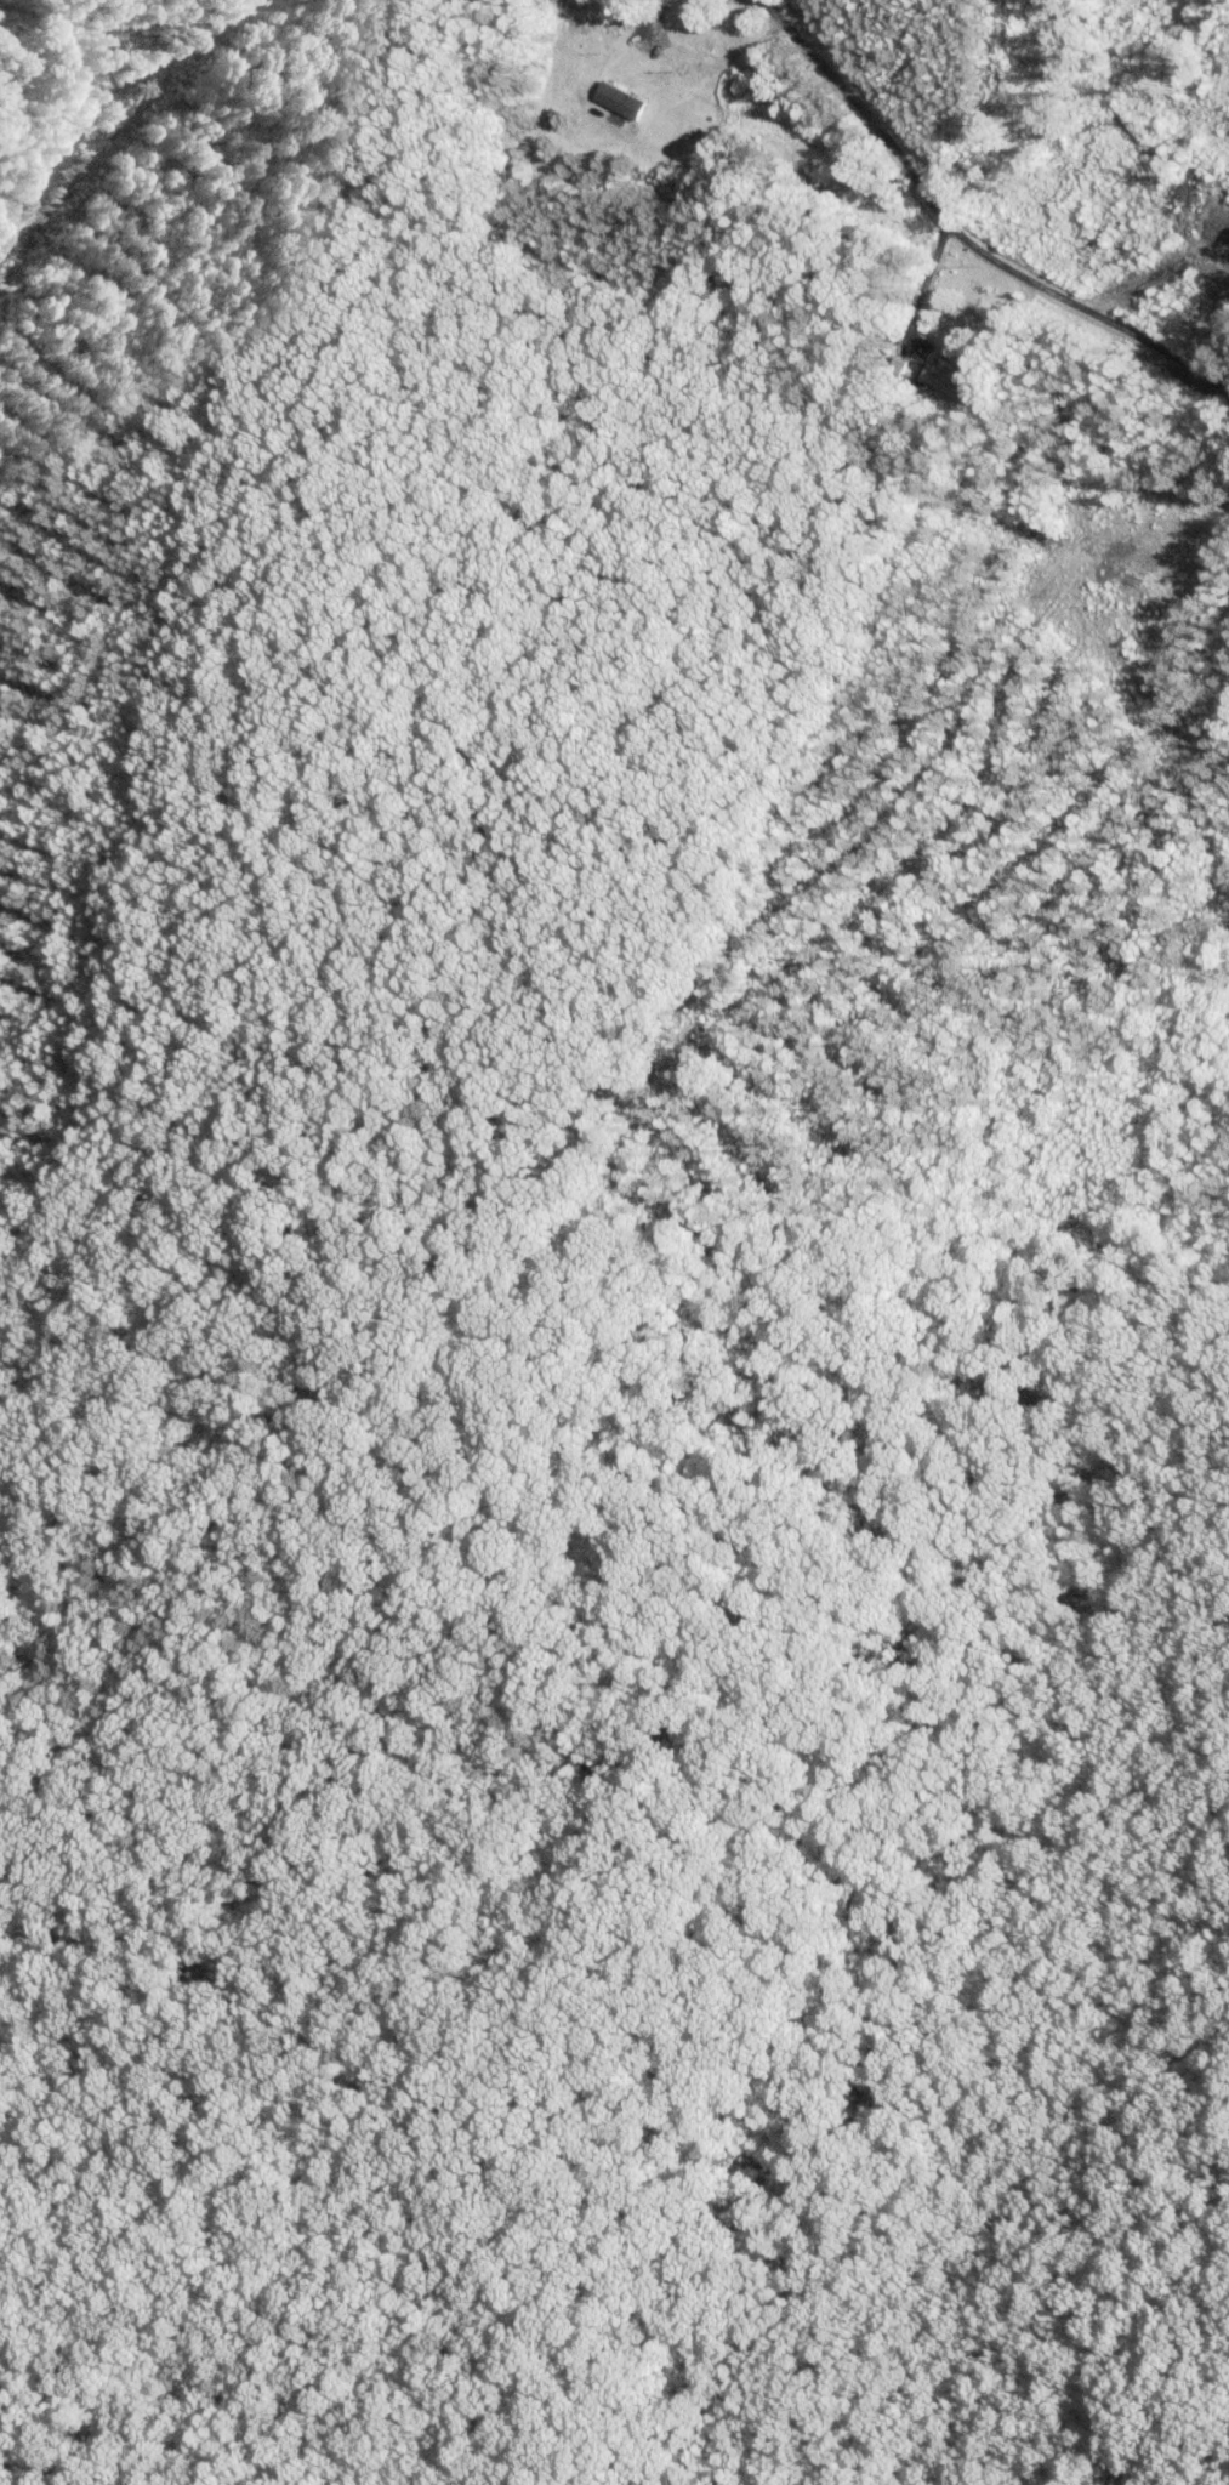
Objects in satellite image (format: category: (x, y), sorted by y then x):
road: (655, 19)
road: (962, 233)
road: (926, 284)
road: (485, 1855)
road: (1172, 2288)

